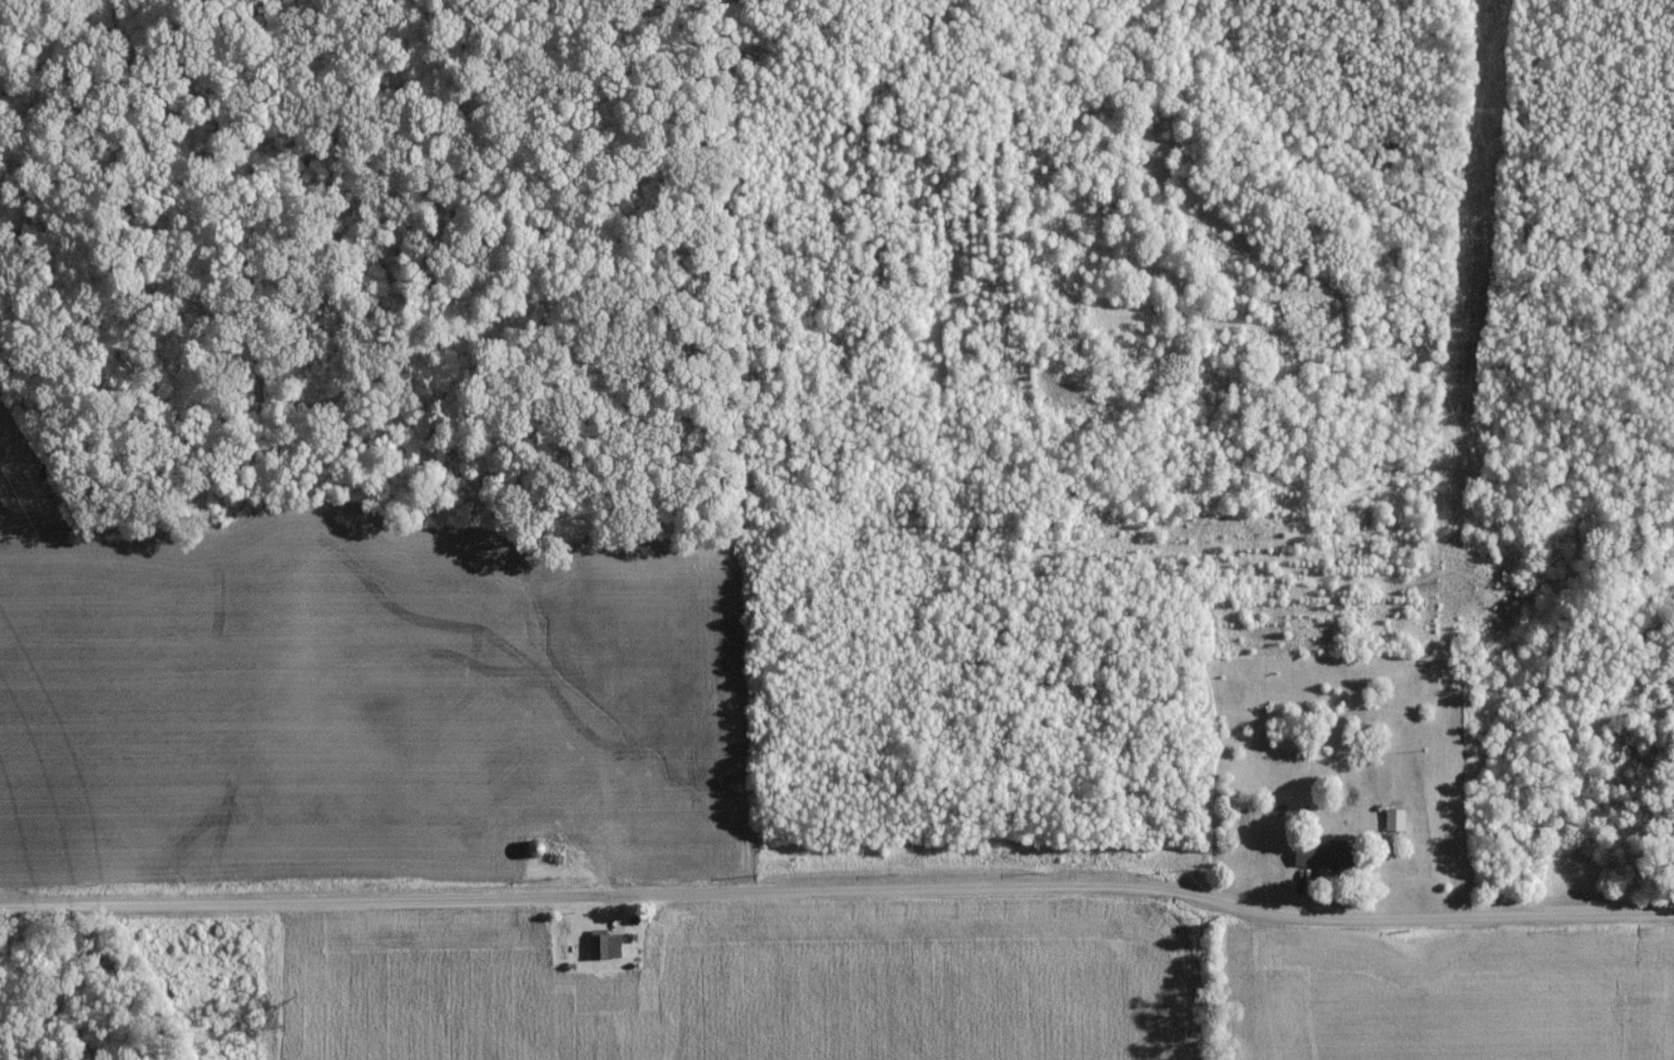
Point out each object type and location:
building: (1393, 826)
building: (534, 854)
building: (1323, 860)
road: (838, 888)
building: (602, 951)
power tower: (260, 1022)

